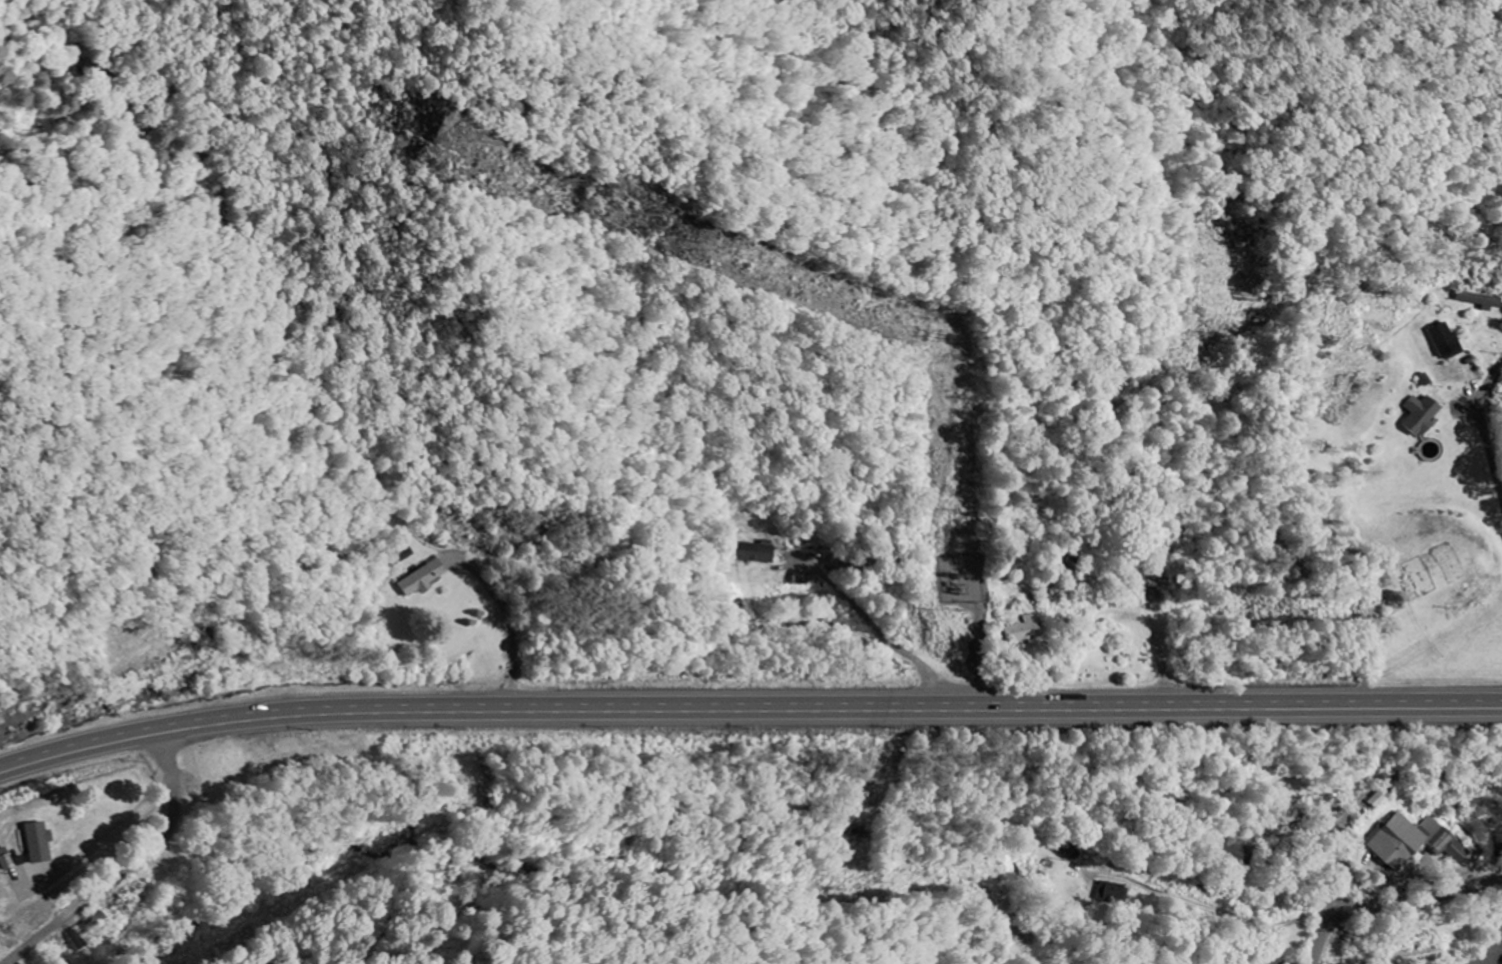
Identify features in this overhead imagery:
building: (1448, 342)
building: (1422, 415)
road: (1485, 426)
building: (753, 552)
building: (421, 578)
building: (1023, 630)
road: (1365, 654)
road: (748, 711)
road: (1255, 821)
building: (37, 841)
building: (1412, 841)
building: (1229, 850)
road: (213, 872)
building: (1112, 893)
road: (1392, 903)
road: (1215, 904)
building: (90, 923)
building: (1417, 956)

